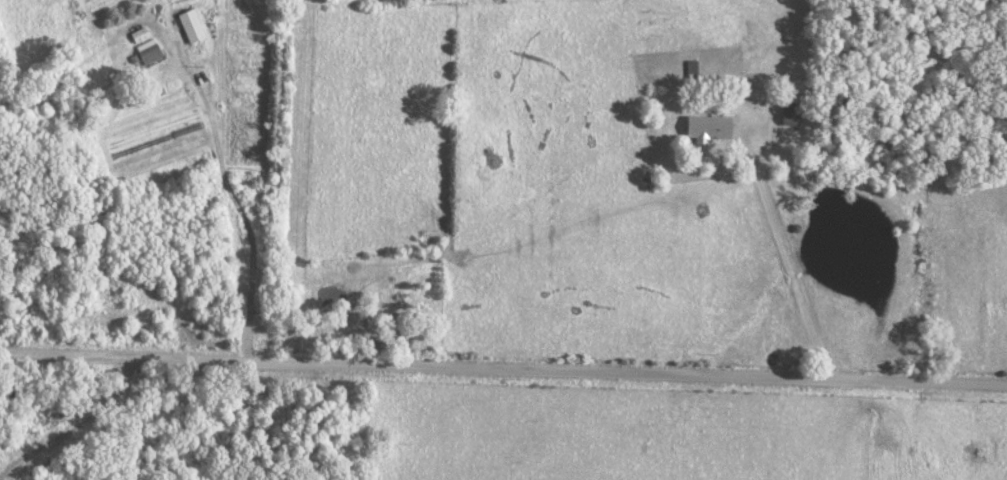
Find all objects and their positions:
building: (191, 26)
building: (140, 35)
building: (148, 52)
building: (707, 128)
road: (749, 142)
road: (240, 208)
road: (797, 279)
road: (503, 371)
building: (880, 438)
building: (977, 451)

